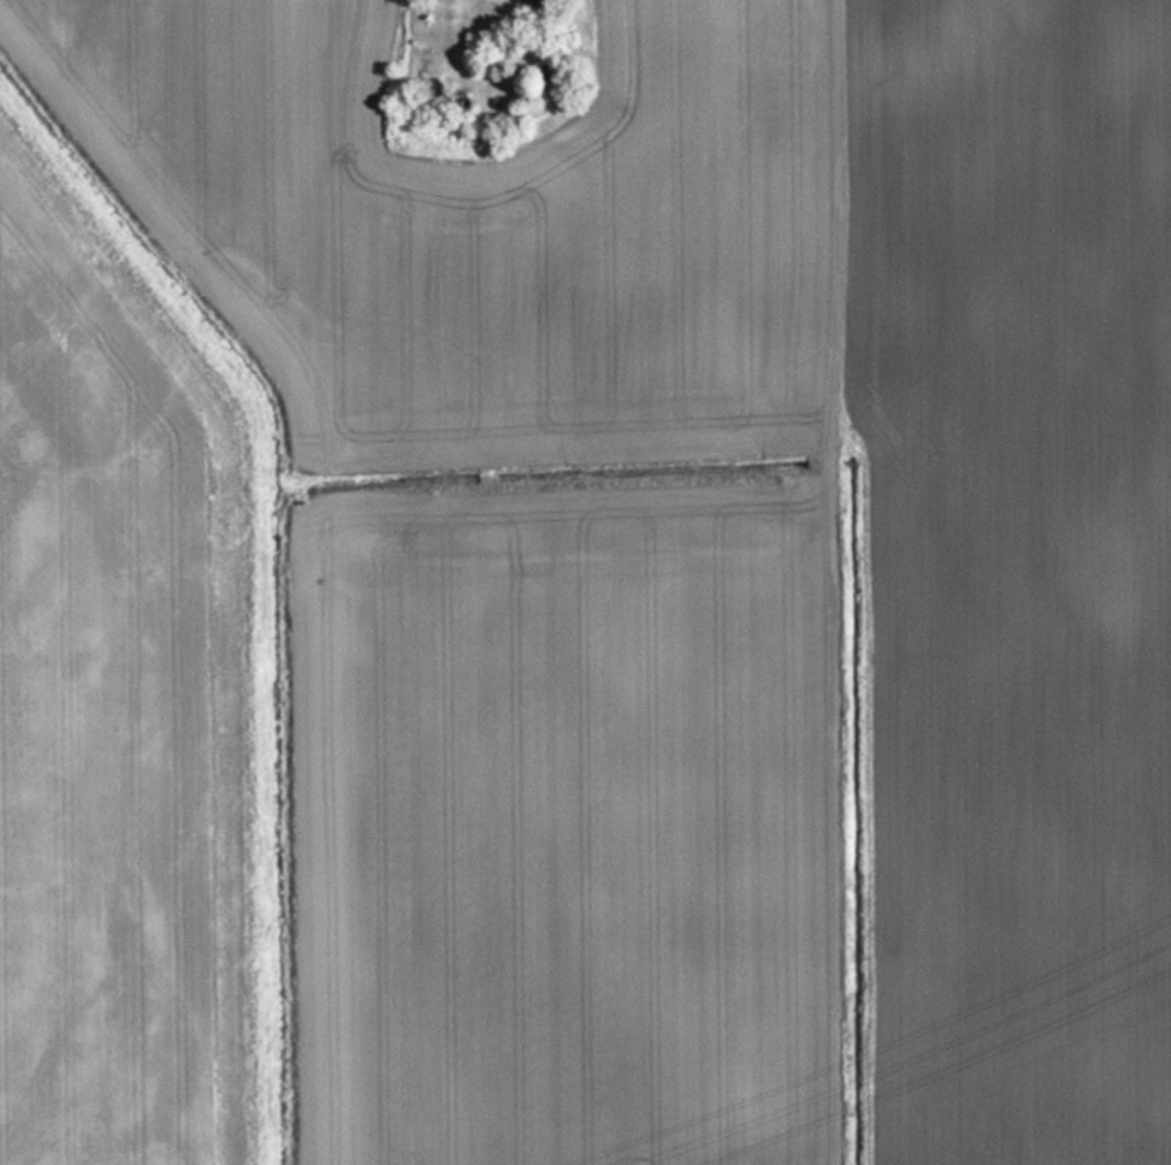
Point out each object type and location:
road: (856, 582)

